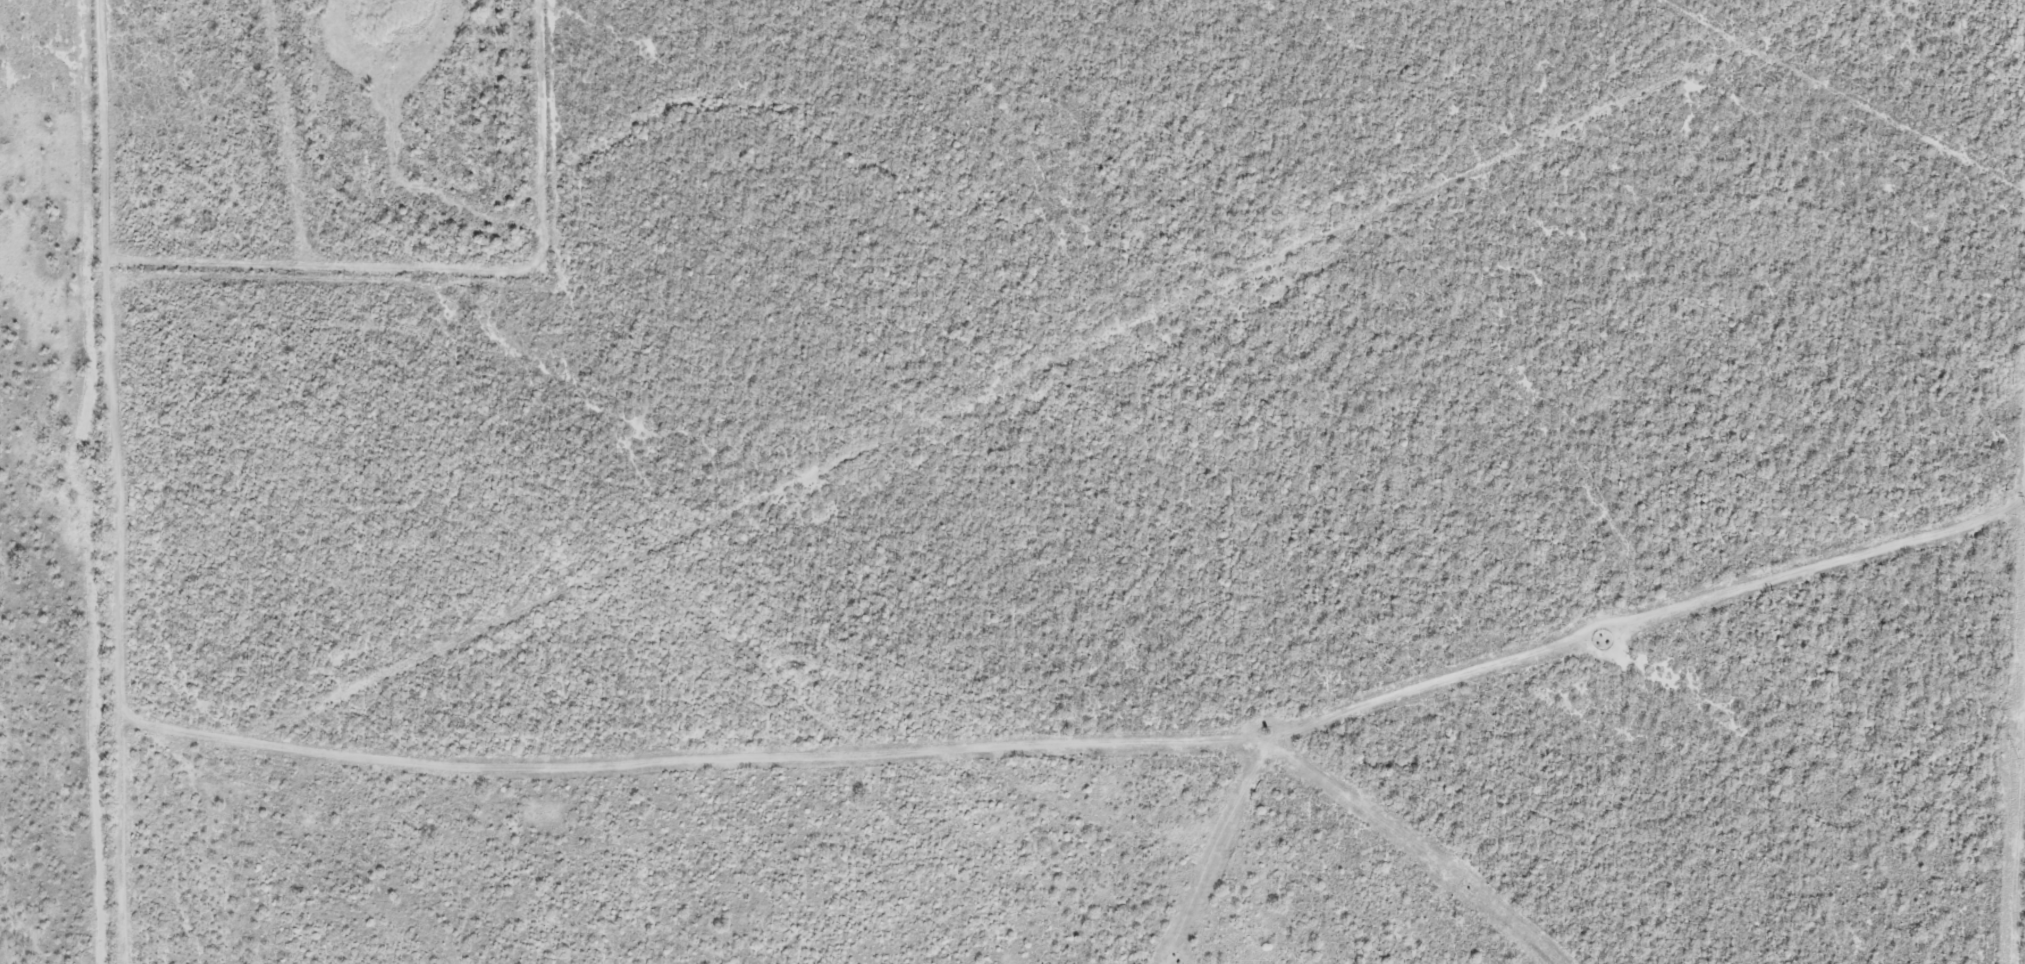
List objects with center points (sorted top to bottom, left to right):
power tower: (2018, 757)

